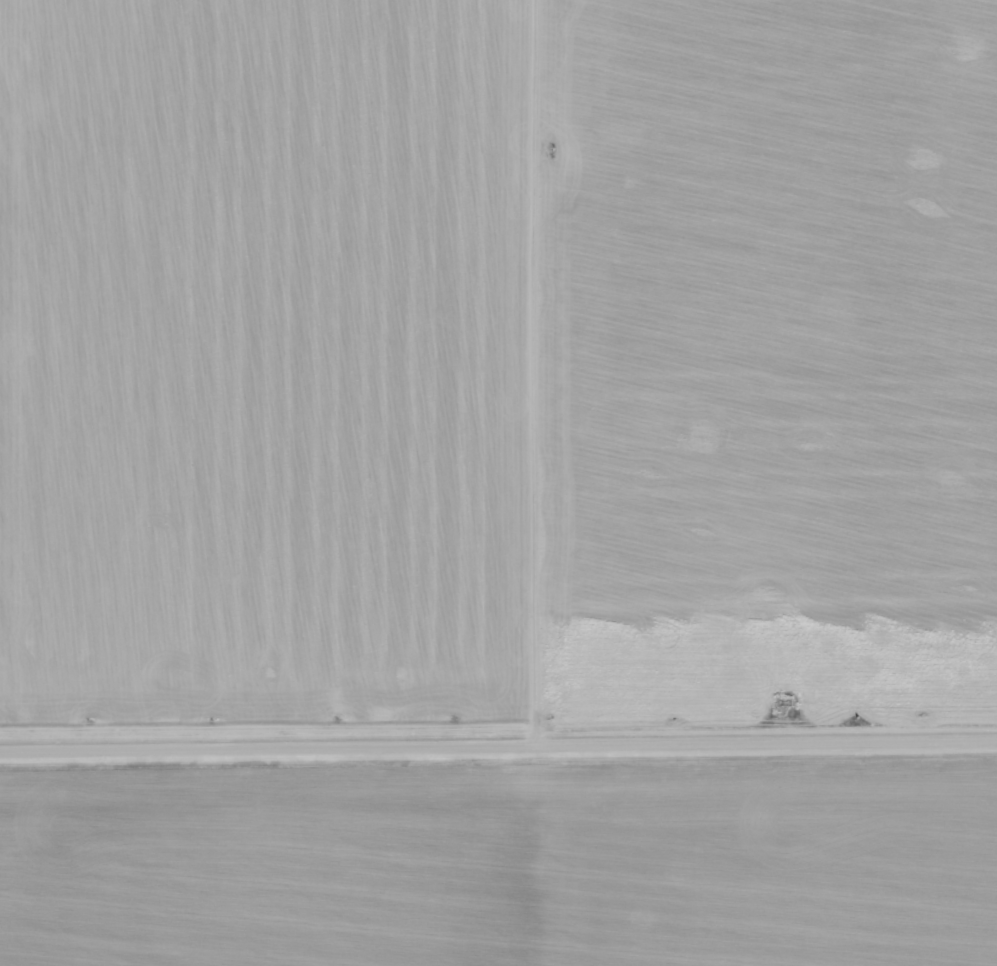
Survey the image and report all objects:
road: (498, 749)

